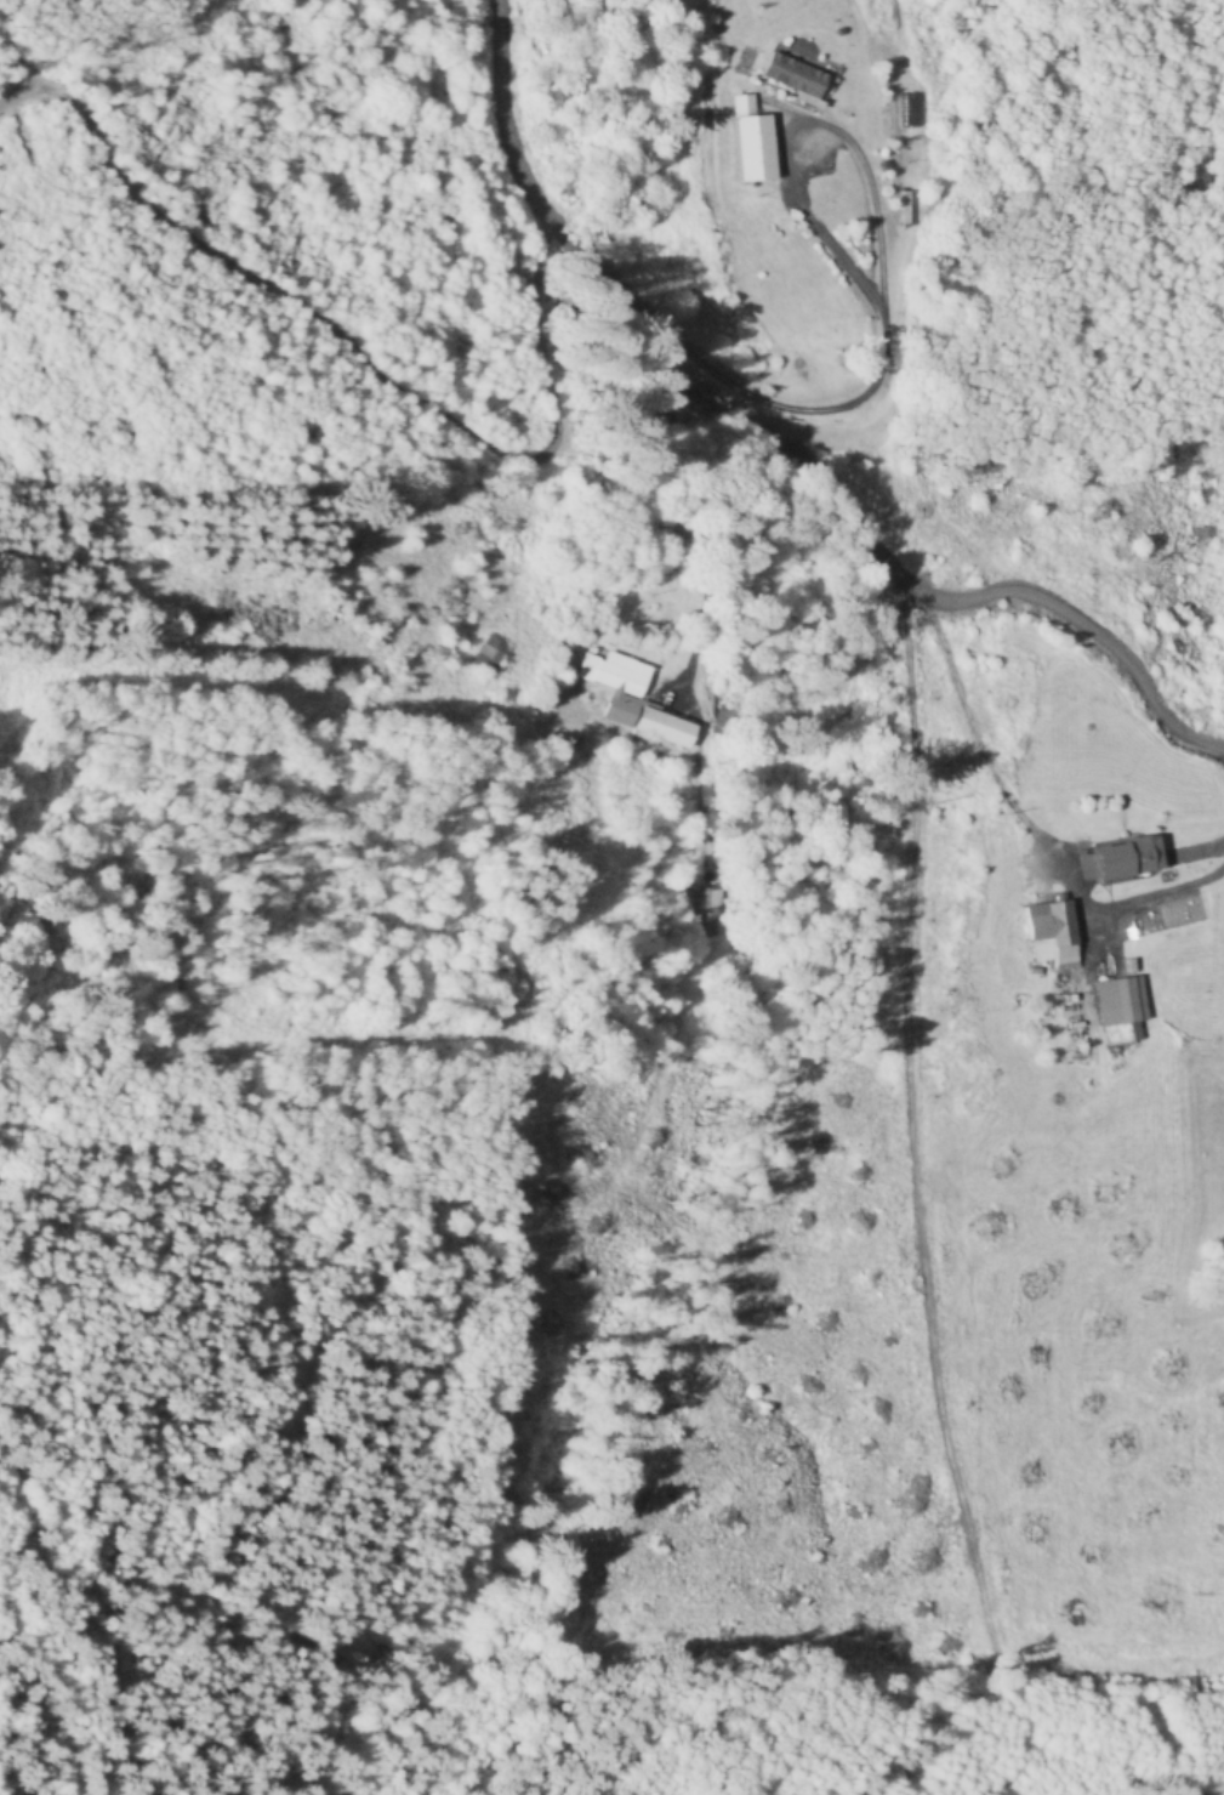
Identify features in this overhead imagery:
building: (815, 68)
building: (786, 141)
road: (759, 437)
building: (677, 533)
building: (490, 655)
building: (633, 701)
building: (1123, 862)
building: (717, 915)
building: (1058, 931)
building: (1122, 1002)

